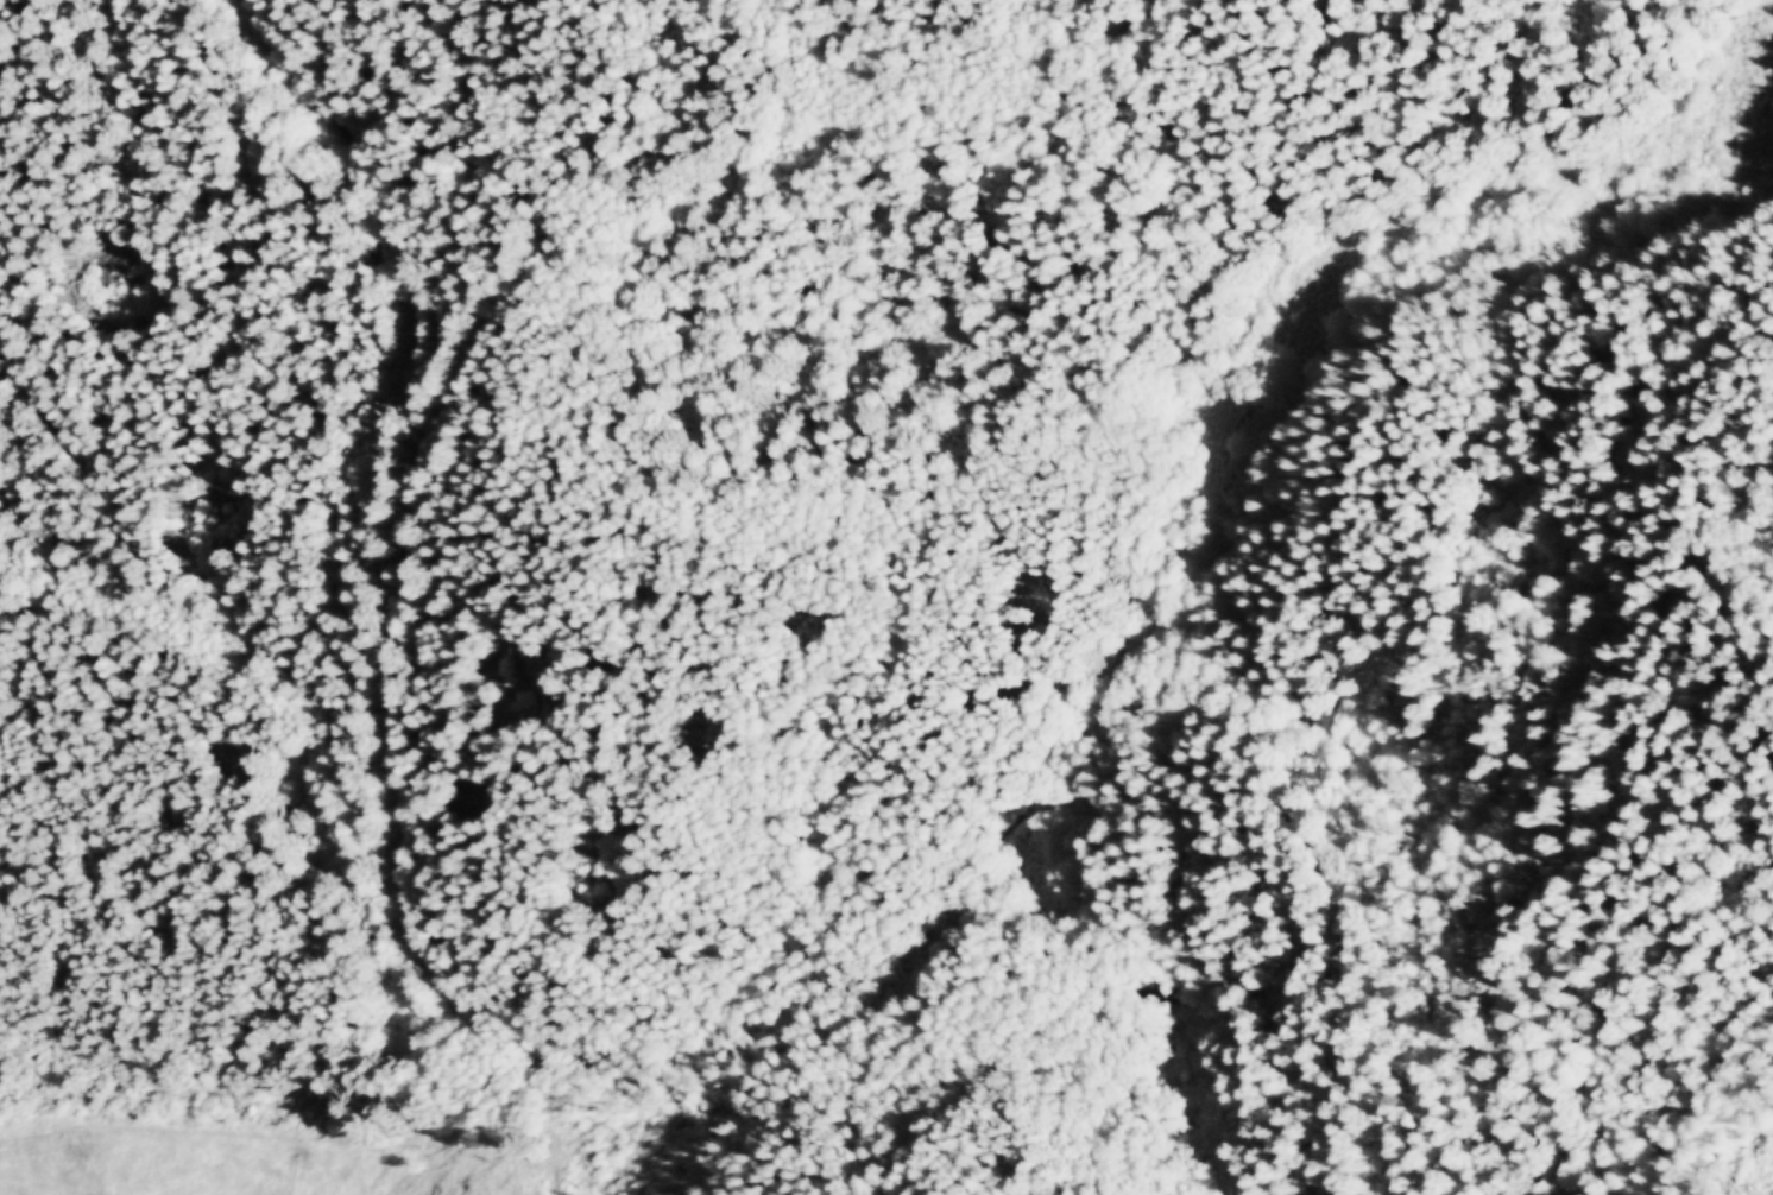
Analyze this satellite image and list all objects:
road: (368, 206)
road: (1143, 333)
park: (885, 595)
road: (264, 693)
road: (940, 884)
road: (398, 900)

